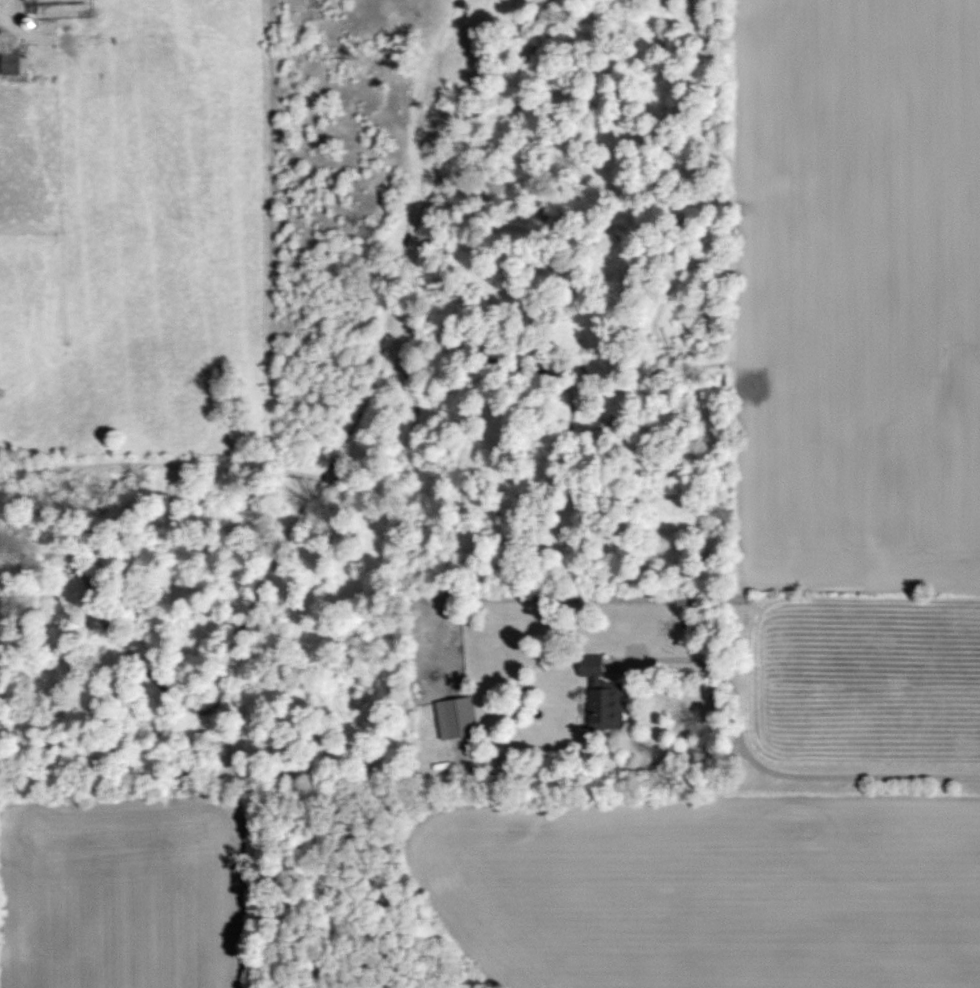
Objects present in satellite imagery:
building: (600, 699)
building: (455, 718)
road: (768, 767)

